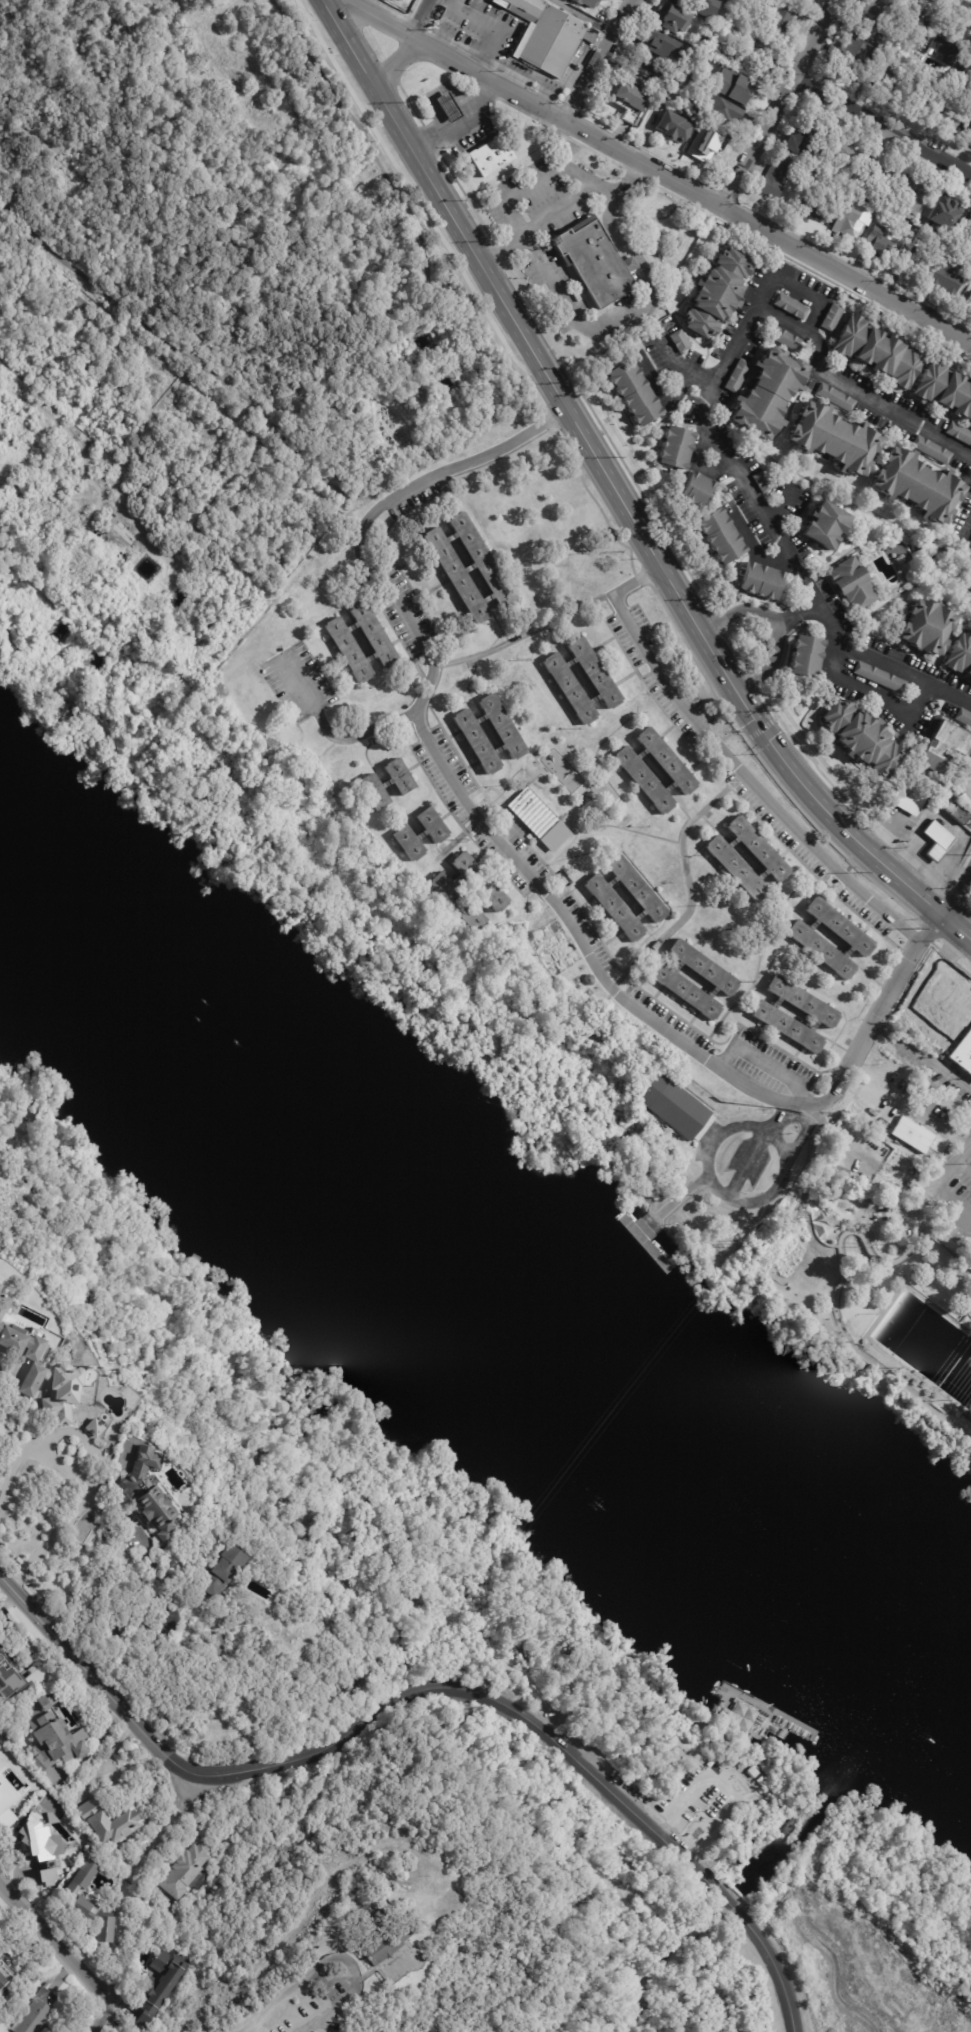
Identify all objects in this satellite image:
building: (799, 0)
building: (803, 0)
building: (685, 2)
building: (587, 3)
road: (961, 5)
building: (873, 12)
building: (666, 15)
road: (584, 16)
building: (708, 16)
building: (779, 19)
road: (498, 26)
building: (911, 30)
building: (877, 34)
building: (548, 36)
building: (651, 42)
road: (410, 45)
building: (699, 45)
building: (943, 47)
building: (849, 57)
building: (930, 58)
road: (598, 60)
building: (757, 60)
building: (677, 67)
building: (653, 70)
building: (967, 70)
building: (884, 82)
building: (734, 87)
building: (663, 90)
building: (918, 100)
building: (628, 102)
road: (779, 102)
building: (450, 107)
gas station: (450, 107)
building: (714, 111)
building: (947, 111)
road: (460, 120)
road: (882, 126)
building: (672, 128)
building: (798, 138)
building: (706, 144)
building: (843, 154)
building: (492, 156)
building: (877, 171)
building: (773, 178)
road: (530, 185)
road: (692, 188)
building: (913, 188)
road: (561, 206)
building: (812, 210)
building: (869, 214)
building: (940, 216)
building: (968, 220)
building: (846, 225)
building: (2, 226)
building: (913, 232)
building: (876, 243)
building: (918, 261)
building: (593, 262)
building: (629, 263)
road: (636, 271)
building: (946, 276)
road: (555, 280)
building: (717, 293)
building: (969, 302)
building: (790, 304)
building: (82, 305)
road: (749, 310)
building: (831, 315)
building: (786, 337)
building: (680, 338)
building: (878, 350)
road: (678, 366)
building: (451, 385)
building: (945, 387)
building: (764, 389)
building: (634, 390)
building: (835, 395)
building: (959, 430)
building: (833, 436)
building: (675, 445)
building: (931, 447)
road: (518, 448)
road: (610, 479)
building: (761, 479)
building: (915, 483)
building: (696, 488)
road: (375, 512)
building: (825, 522)
road: (969, 529)
building: (718, 534)
building: (484, 561)
building: (458, 576)
building: (761, 579)
building: (852, 581)
road: (442, 583)
road: (380, 610)
road: (739, 612)
road: (461, 614)
road: (786, 616)
building: (925, 625)
road: (440, 631)
road: (524, 635)
building: (377, 637)
building: (350, 652)
building: (960, 652)
building: (806, 654)
road: (769, 660)
building: (597, 675)
building: (879, 675)
road: (579, 680)
road: (300, 685)
building: (571, 691)
road: (948, 694)
road: (894, 705)
road: (410, 715)
building: (963, 715)
road: (489, 721)
building: (505, 724)
road: (467, 725)
road: (762, 730)
road: (362, 731)
building: (863, 738)
building: (478, 741)
building: (945, 745)
road: (713, 750)
building: (671, 760)
road: (733, 763)
road: (420, 765)
road: (654, 769)
road: (686, 772)
road: (768, 773)
building: (403, 776)
building: (646, 779)
building: (378, 789)
building: (911, 796)
road: (508, 809)
building: (960, 812)
building: (533, 816)
building: (968, 824)
road: (612, 826)
building: (434, 827)
road: (460, 838)
building: (939, 839)
building: (408, 844)
road: (728, 844)
road: (539, 845)
building: (760, 850)
road: (471, 866)
road: (452, 872)
building: (737, 872)
road: (758, 876)
road: (837, 880)
road: (534, 881)
building: (481, 884)
road: (691, 886)
building: (640, 890)
road: (553, 892)
road: (623, 897)
road: (959, 898)
building: (460, 903)
building: (617, 909)
building: (840, 928)
road: (959, 928)
road: (621, 930)
road: (857, 939)
road: (832, 944)
building: (822, 951)
building: (705, 968)
road: (666, 983)
road: (697, 983)
road: (881, 987)
building: (688, 992)
building: (955, 997)
building: (805, 1004)
road: (885, 1009)
road: (795, 1018)
building: (789, 1028)
building: (933, 1031)
road: (803, 1043)
building: (964, 1054)
road: (923, 1056)
road: (762, 1061)
road: (744, 1086)
building: (870, 1093)
building: (675, 1106)
building: (857, 1109)
road: (791, 1119)
building: (850, 1125)
road: (940, 1126)
building: (653, 1128)
building: (912, 1135)
road: (712, 1139)
road: (752, 1161)
road: (964, 1164)
road: (952, 1165)
road: (785, 1171)
parking lot: (957, 1178)
road: (685, 1193)
road: (955, 1197)
park: (879, 1249)
building: (969, 1262)
building: (0, 1285)
road: (839, 1286)
building: (6, 1304)
river: (492, 1304)
building: (21, 1340)
building: (36, 1379)
building: (919, 1381)
building: (65, 1394)
building: (97, 1428)
road: (97, 1469)
building: (151, 1494)
building: (229, 1571)
road: (127, 1598)
building: (256, 1633)
building: (11, 1679)
park: (474, 1721)
building: (689, 1721)
road: (353, 1733)
building: (55, 1736)
road: (723, 1739)
road: (105, 1762)
building: (751, 1773)
road: (732, 1794)
building: (52, 1800)
building: (6, 1809)
building: (113, 1822)
road: (666, 1830)
building: (46, 1847)
building: (188, 1873)
building: (47, 1877)
building: (82, 1891)
road: (728, 1901)
building: (104, 1929)
building: (388, 1938)
road: (61, 1939)
road: (330, 1959)
road: (775, 1968)
building: (6, 1979)
road: (132, 1986)
building: (162, 1987)
building: (38, 2012)

